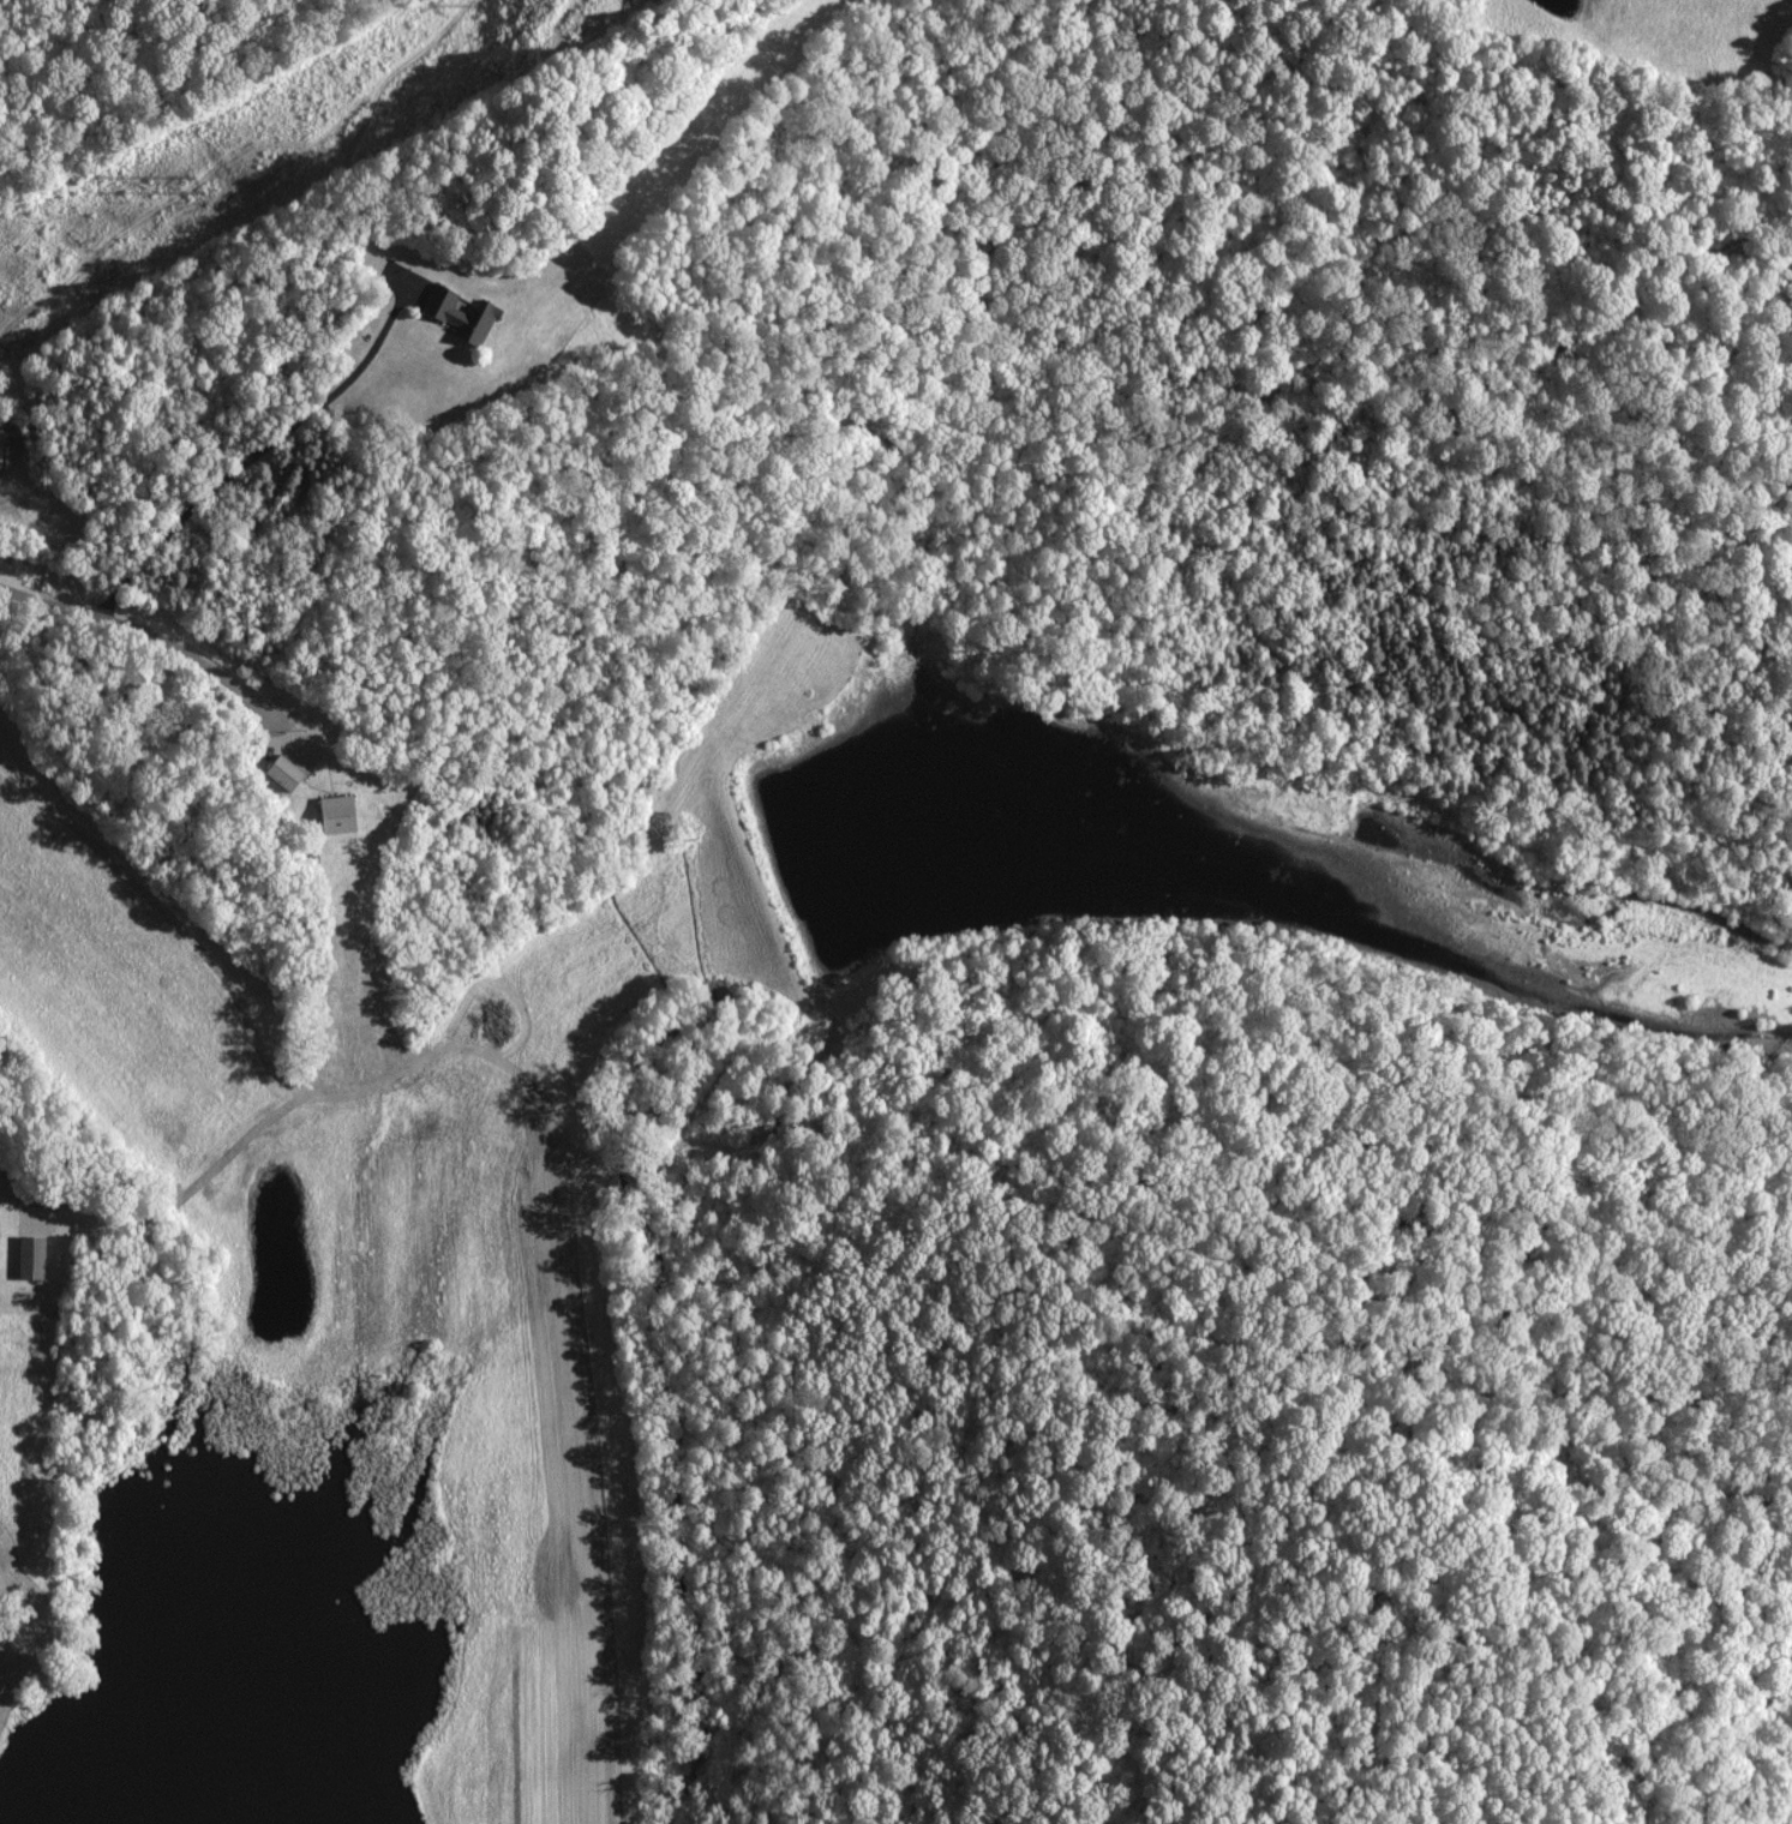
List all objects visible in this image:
power tower: (194, 185)
building: (459, 317)
road: (145, 619)
building: (280, 773)
building: (332, 815)
building: (26, 1258)
building: (12, 1560)

